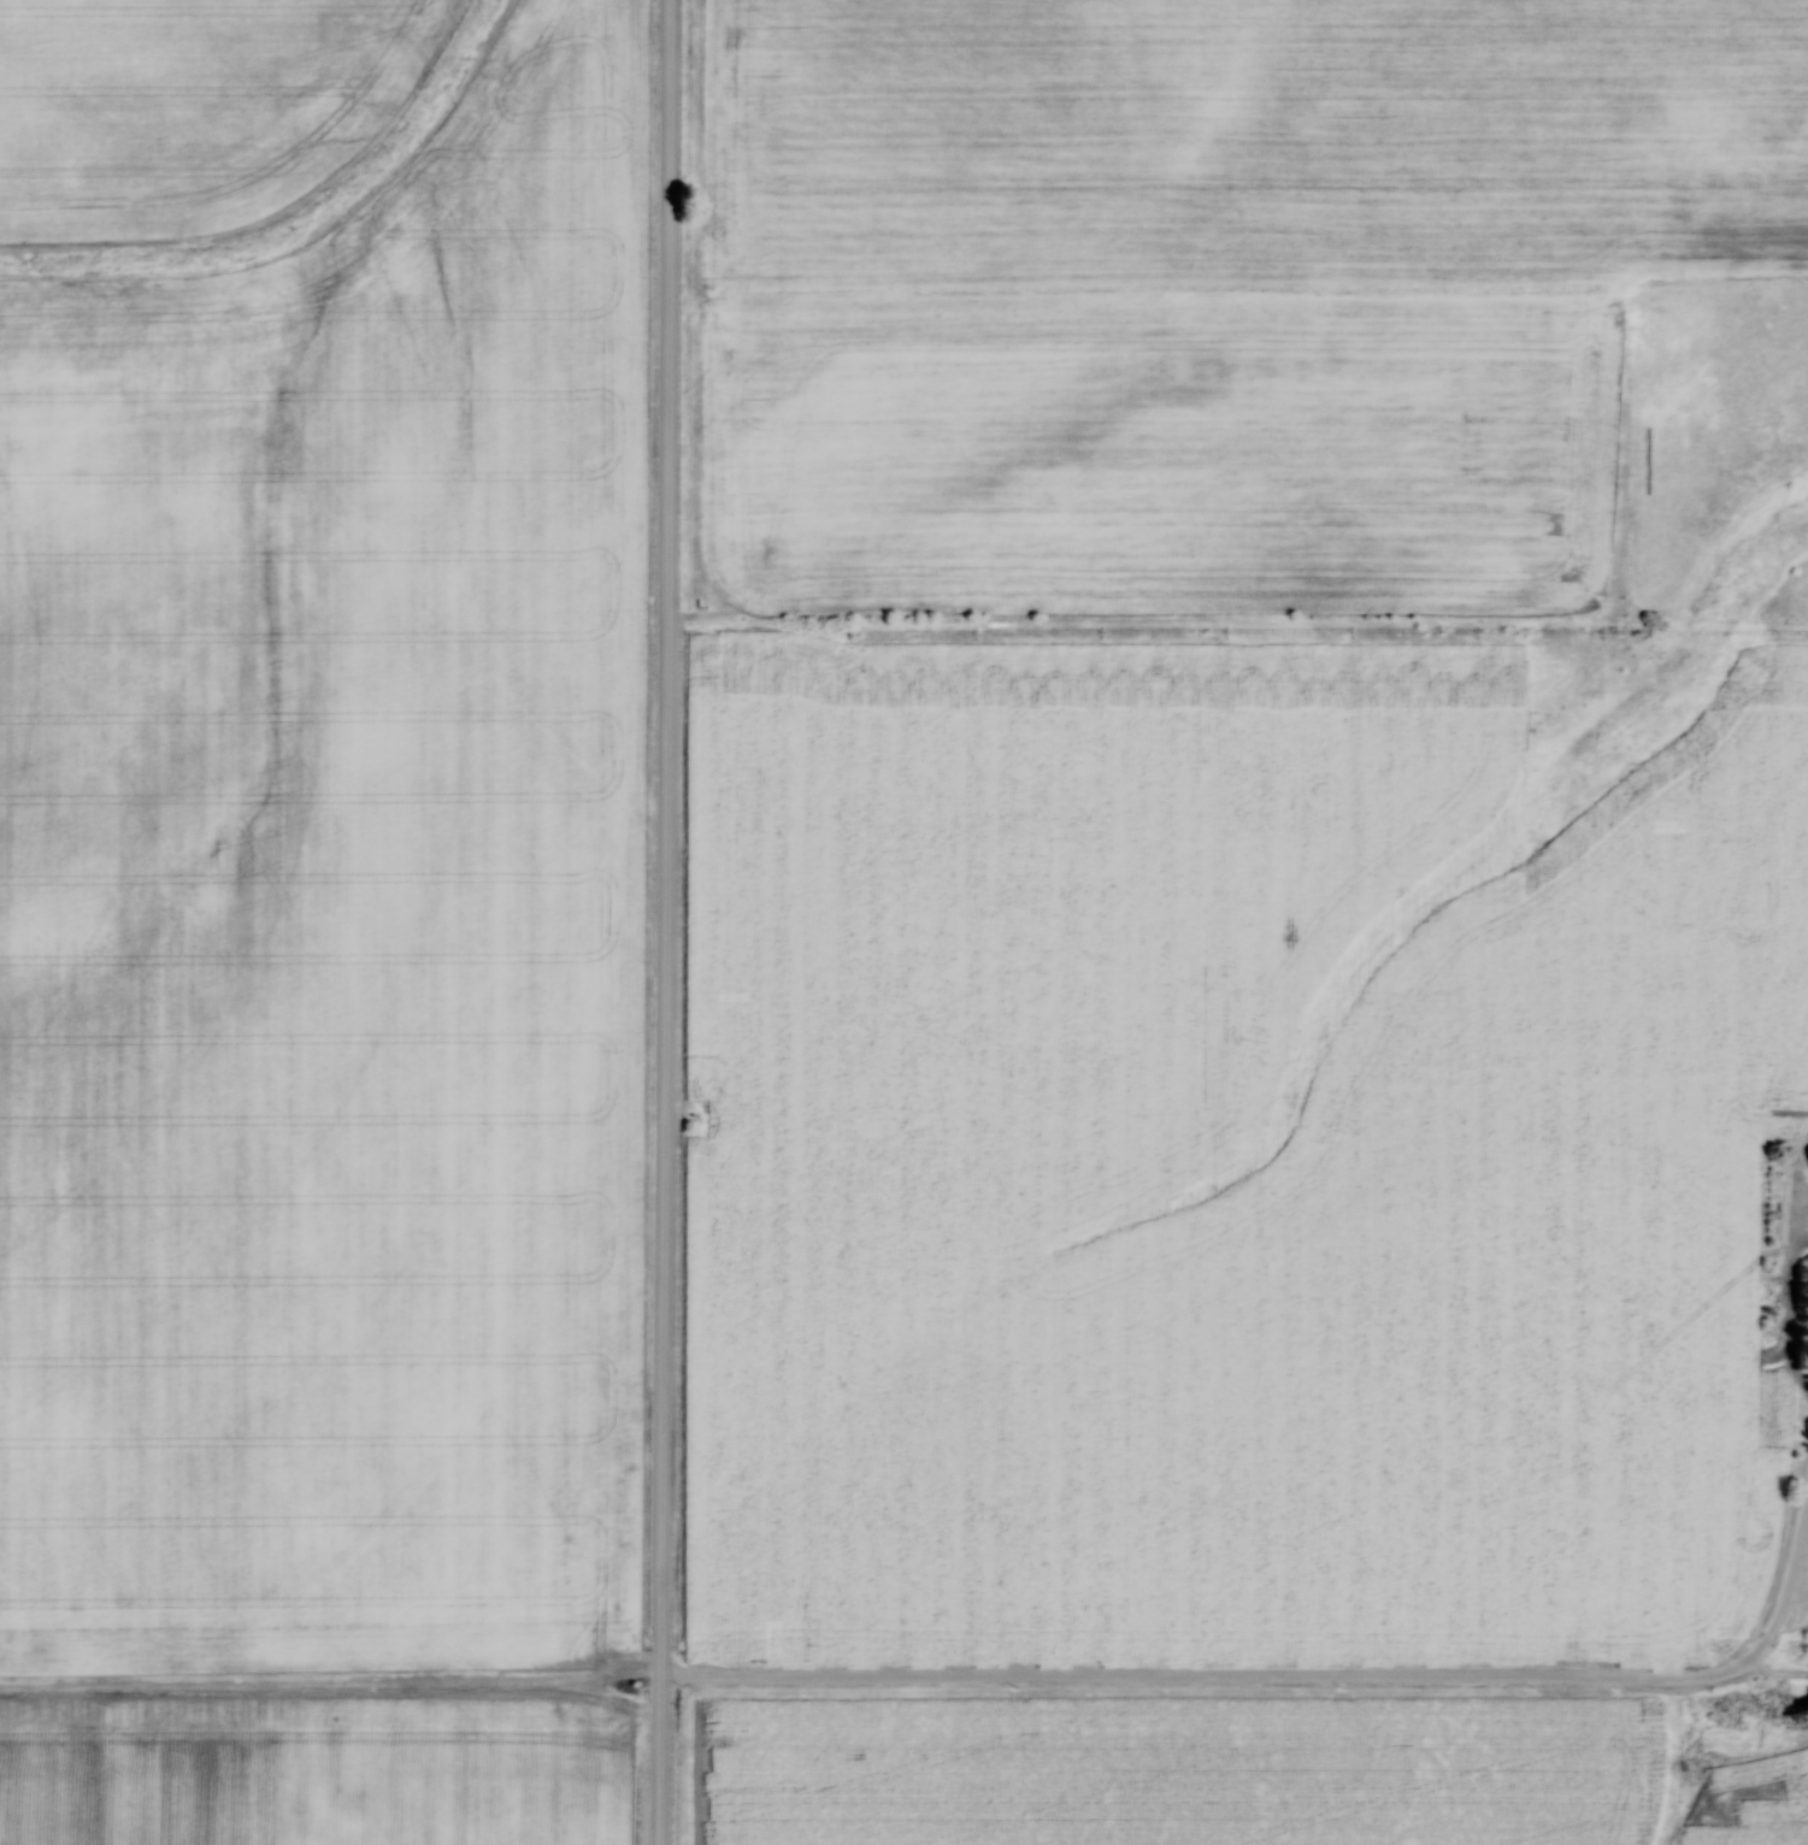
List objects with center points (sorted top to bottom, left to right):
road: (669, 922)
road: (1292, 1675)

